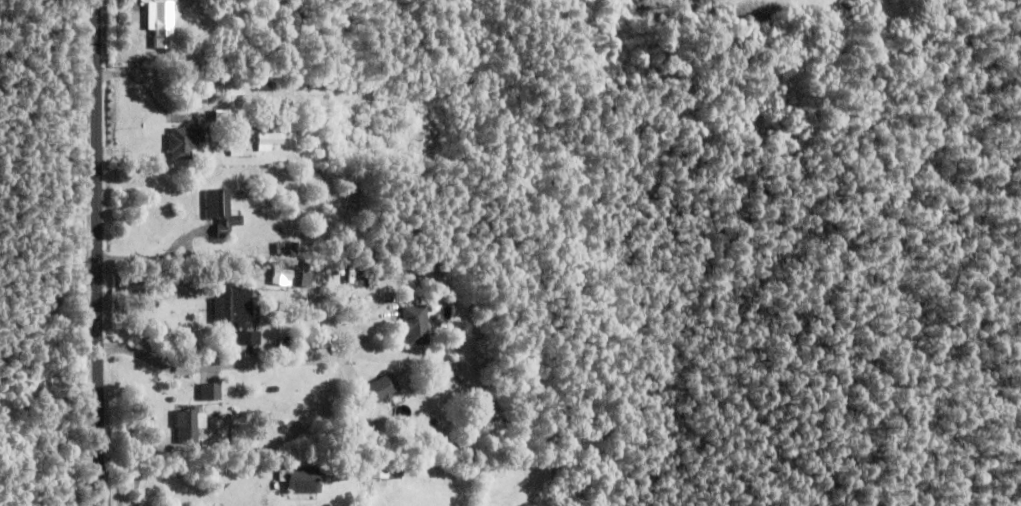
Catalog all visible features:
building: (163, 24)
building: (250, 56)
building: (342, 72)
building: (286, 73)
building: (230, 84)
building: (264, 86)
building: (265, 103)
building: (237, 118)
building: (247, 130)
building: (268, 141)
building: (179, 142)
building: (236, 151)
building: (231, 160)
building: (221, 211)
building: (286, 248)
road: (97, 252)
building: (442, 267)
building: (286, 275)
building: (305, 280)
building: (237, 313)
building: (414, 325)
road: (251, 368)
building: (378, 390)
building: (210, 392)
building: (189, 425)
building: (423, 431)
building: (261, 453)
building: (383, 472)
building: (282, 475)
building: (332, 475)
building: (303, 481)

